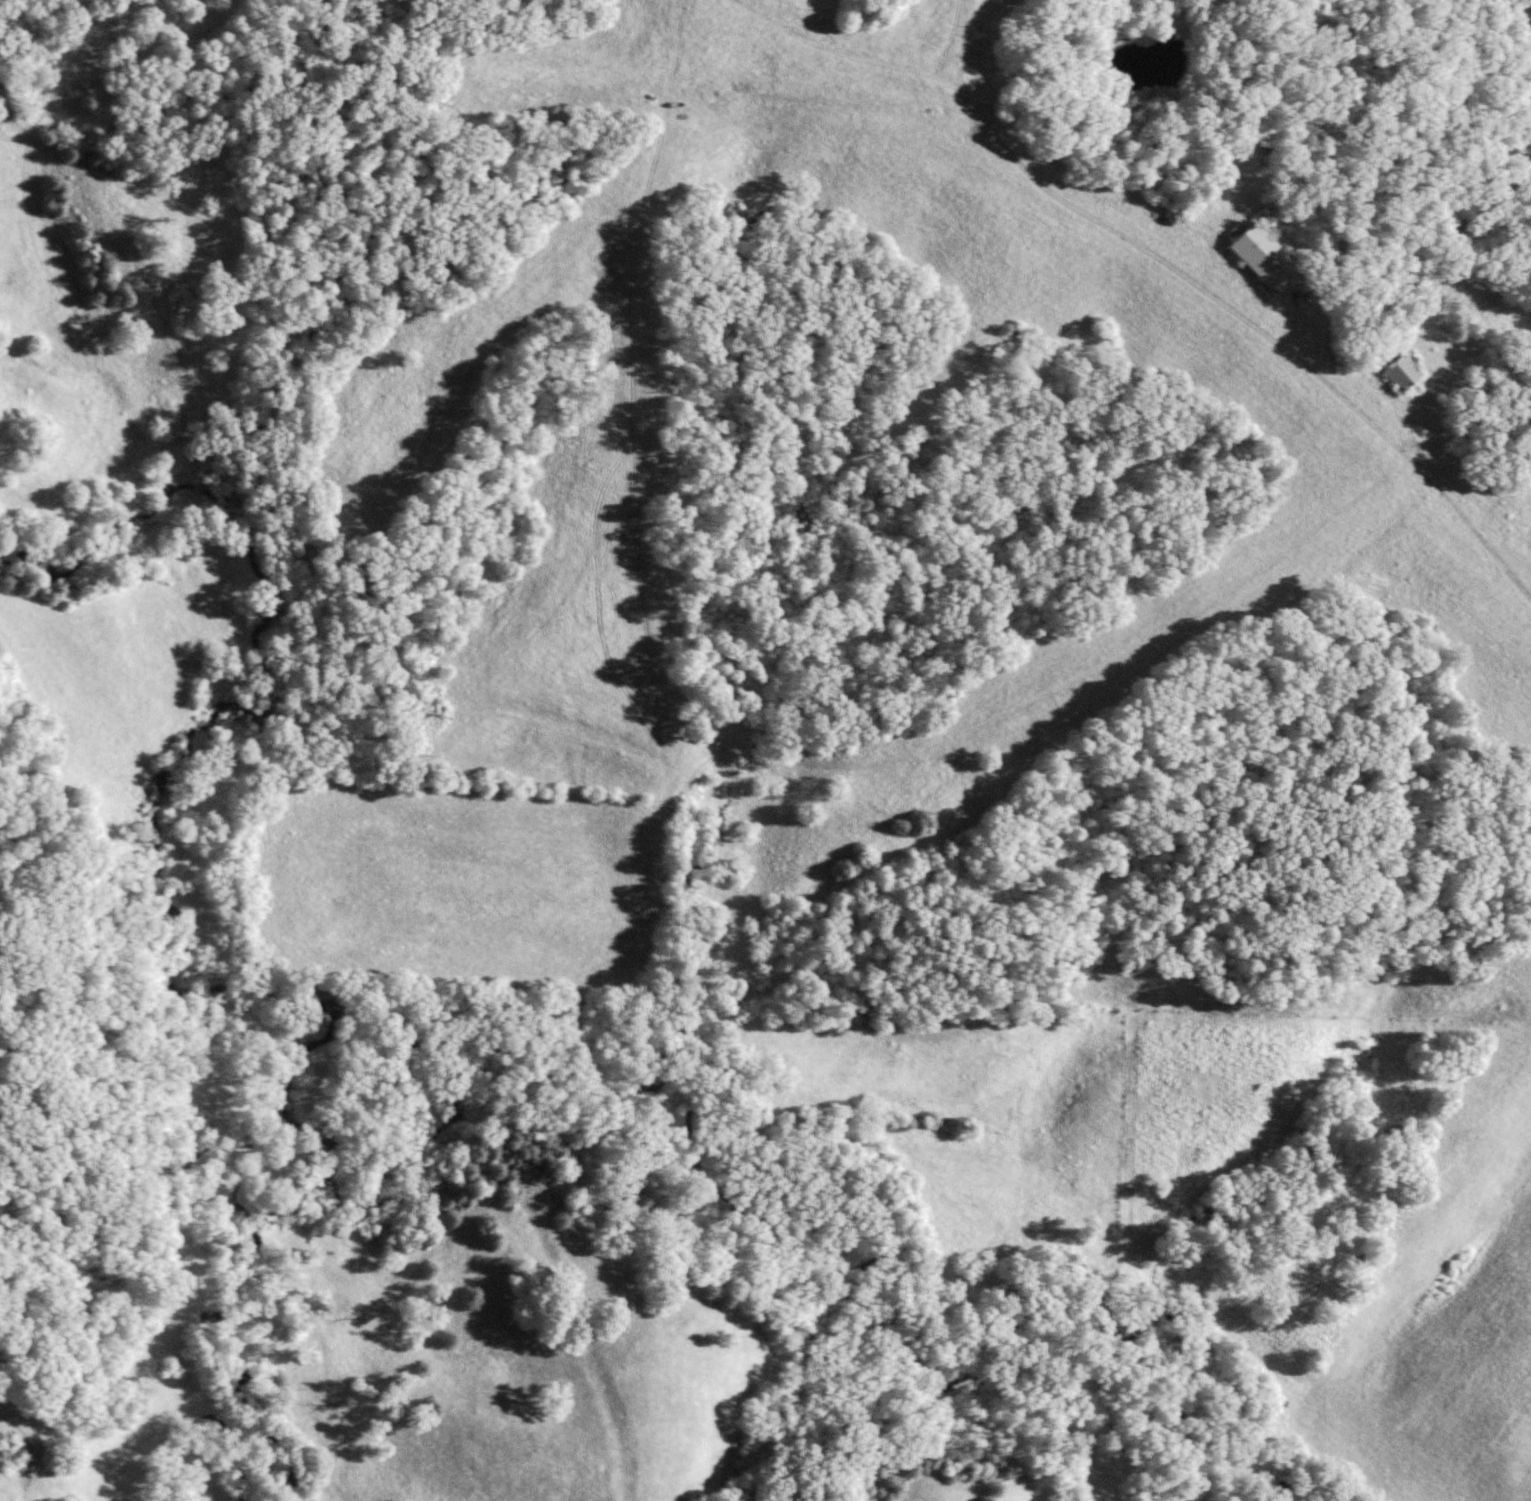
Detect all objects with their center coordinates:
building: (1260, 254)

